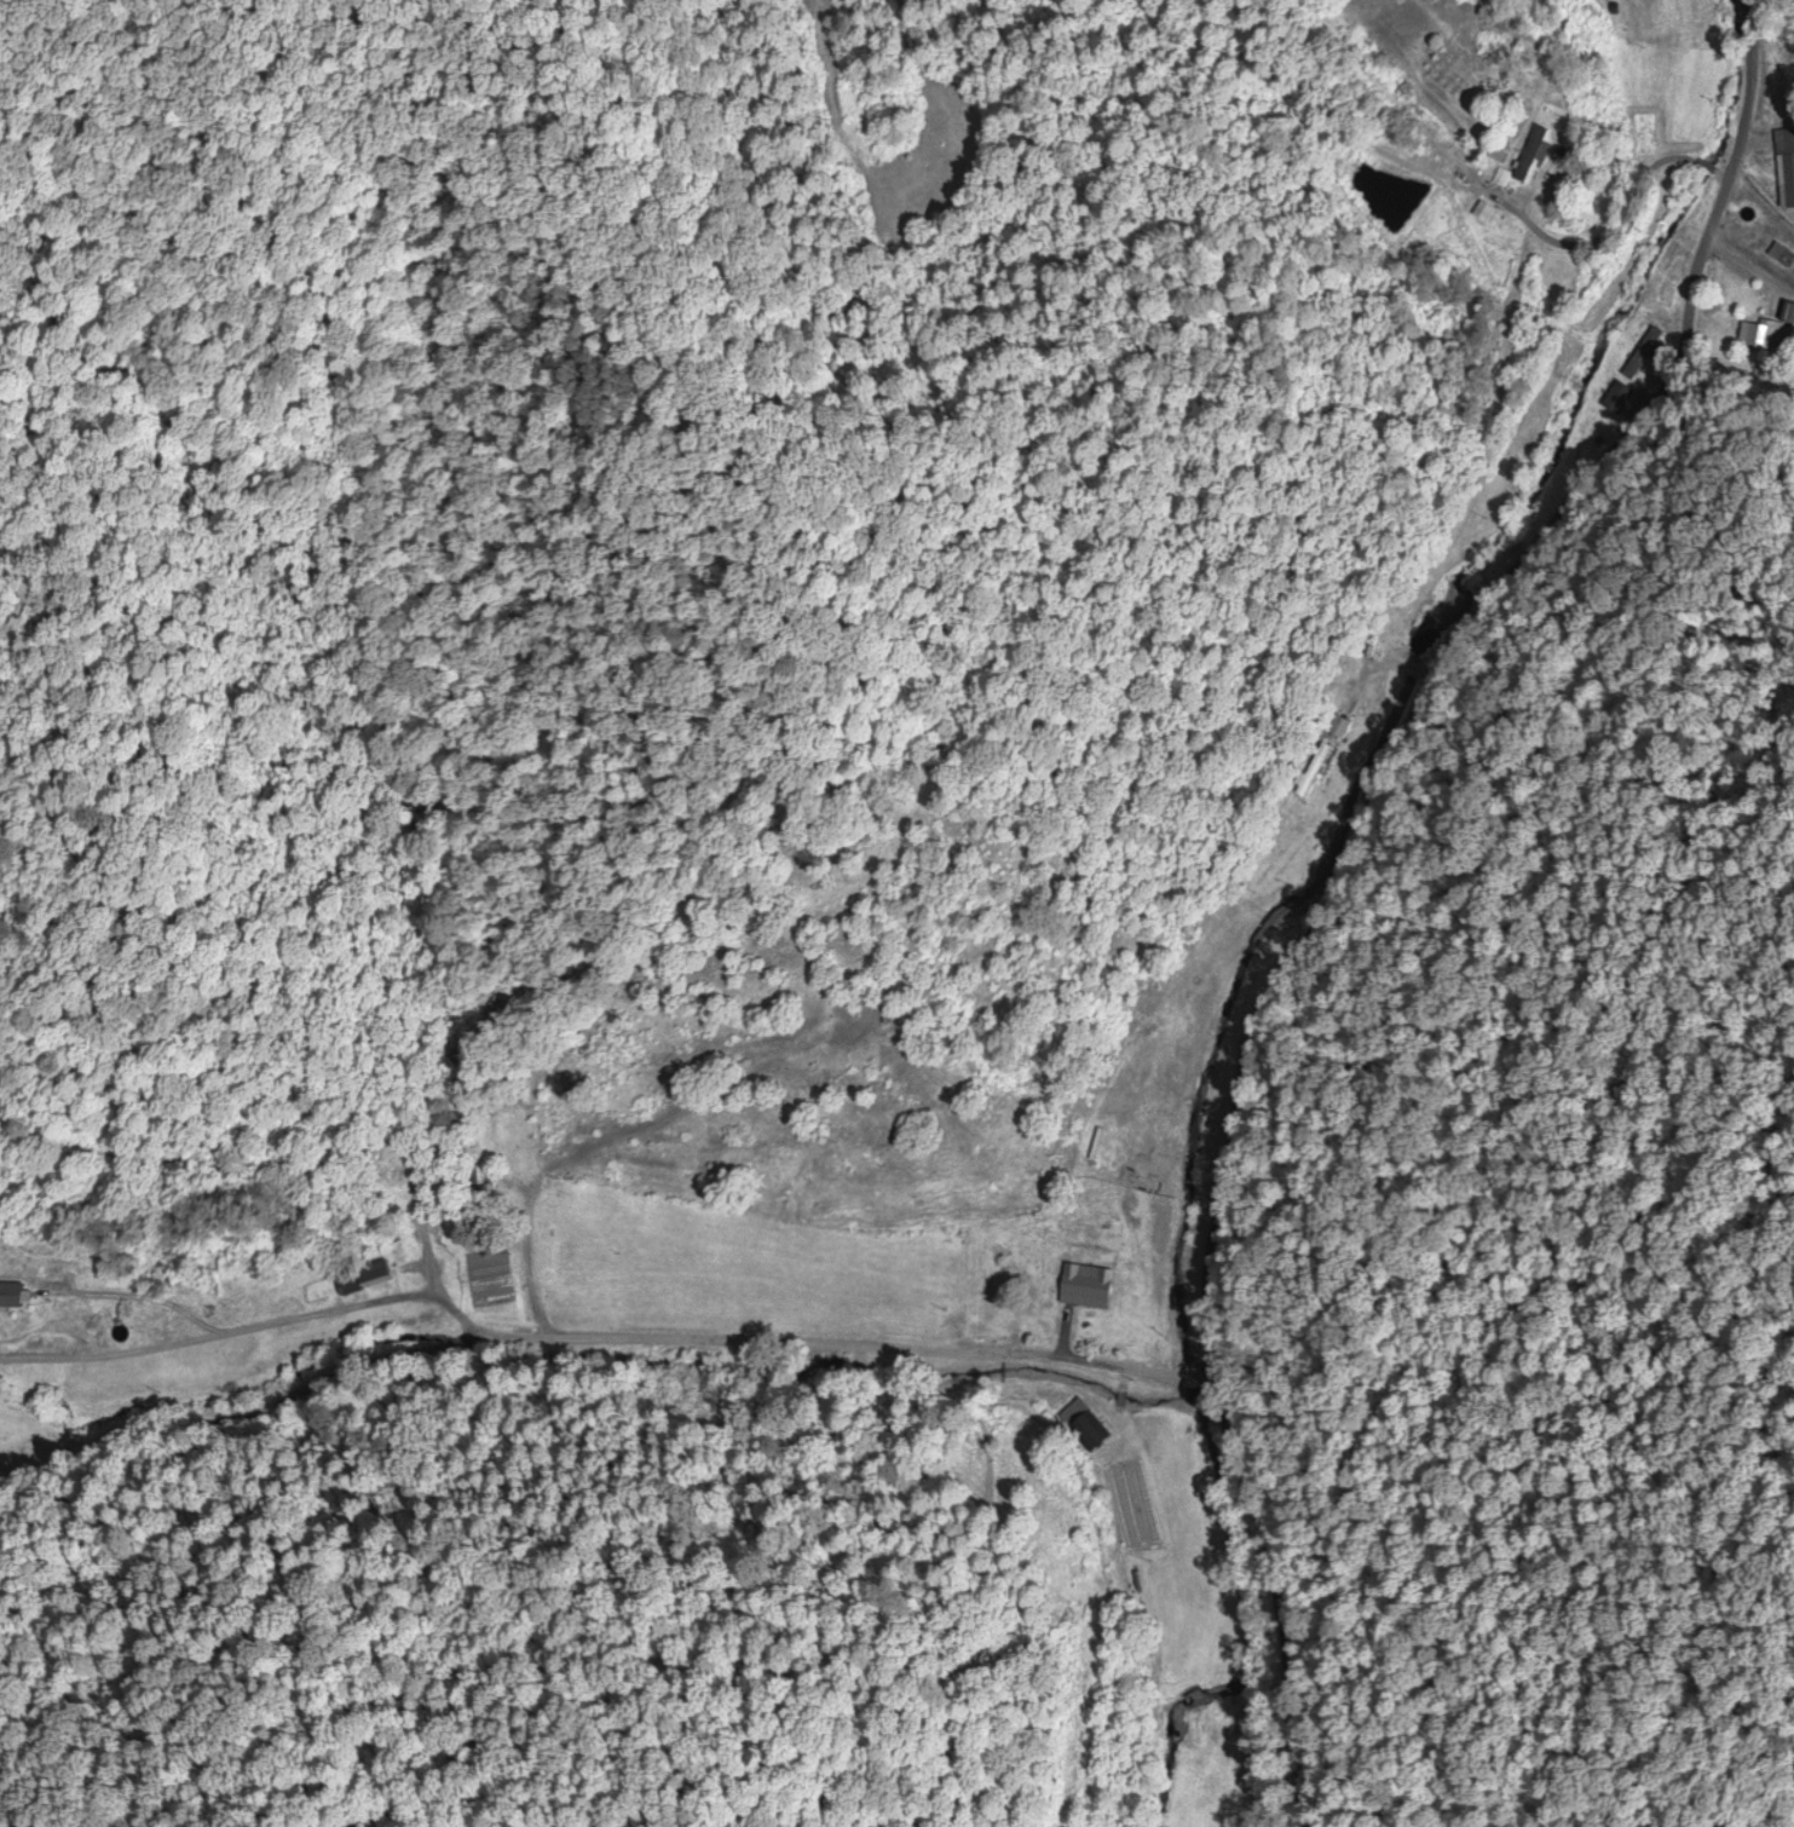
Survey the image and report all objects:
building: (1536, 151)
building: (1787, 166)
road: (1778, 261)
building: (1788, 311)
building: (1752, 334)
building: (1645, 358)
building: (1623, 397)
road: (1381, 868)
building: (1095, 1285)
building: (16, 1292)
road: (282, 1313)
road: (611, 1329)

